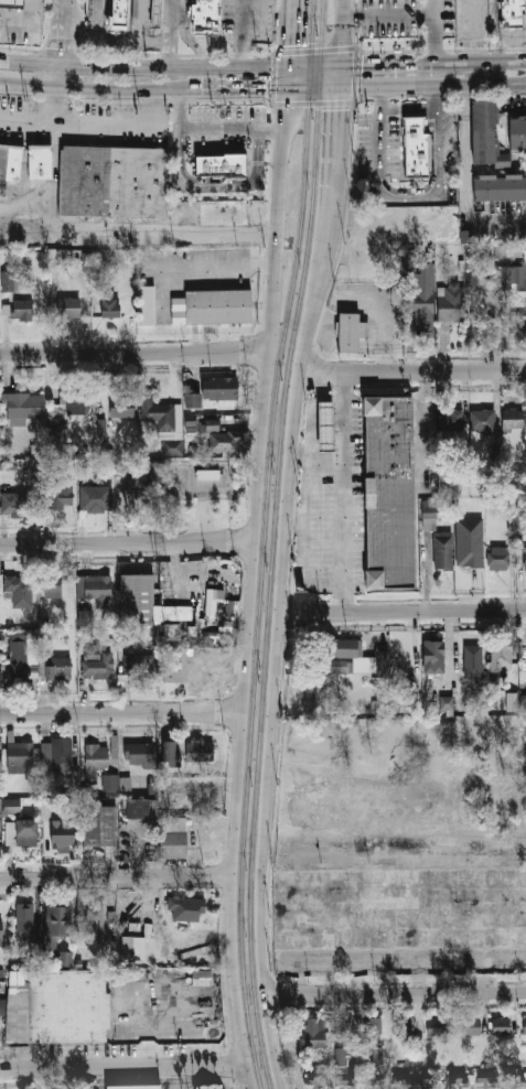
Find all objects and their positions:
road: (65, 2)
building: (14, 3)
gas station: (14, 3)
road: (172, 8)
building: (197, 11)
building: (124, 12)
building: (155, 12)
building: (514, 12)
road: (394, 13)
building: (211, 15)
road: (24, 21)
building: (115, 21)
parking lot: (253, 21)
road: (497, 30)
road: (347, 31)
road: (290, 32)
road: (62, 34)
road: (249, 34)
road: (186, 35)
parking lot: (20, 39)
road: (170, 41)
traffic signals: (290, 43)
road: (465, 61)
traffic signals: (362, 62)
road: (375, 62)
road: (316, 63)
road: (143, 67)
road: (345, 75)
road: (57, 76)
road: (287, 76)
road: (28, 85)
road: (436, 86)
road: (124, 88)
road: (239, 88)
traffic signals: (264, 88)
road: (315, 88)
road: (55, 103)
road: (407, 106)
traffic signals: (344, 109)
road: (76, 118)
road: (211, 127)
building: (517, 133)
building: (486, 136)
building: (417, 149)
building: (37, 161)
road: (344, 161)
building: (9, 163)
building: (219, 164)
building: (233, 176)
building: (110, 181)
road: (463, 181)
road: (214, 183)
building: (500, 187)
road: (362, 192)
road: (408, 198)
road: (275, 205)
road: (133, 230)
building: (466, 236)
building: (513, 250)
building: (54, 255)
road: (221, 266)
road: (324, 270)
building: (511, 278)
building: (7, 280)
building: (425, 292)
building: (148, 305)
building: (218, 305)
building: (452, 305)
building: (110, 308)
building: (22, 309)
building: (68, 309)
building: (481, 324)
building: (516, 325)
building: (347, 332)
road: (132, 354)
road: (410, 369)
building: (219, 389)
building: (75, 400)
building: (192, 401)
building: (25, 406)
building: (120, 406)
building: (514, 420)
building: (453, 421)
building: (483, 421)
building: (164, 423)
building: (200, 424)
building: (325, 424)
gas station: (325, 424)
building: (101, 428)
building: (58, 430)
building: (222, 438)
building: (35, 449)
building: (121, 466)
building: (207, 474)
building: (138, 488)
road: (305, 489)
road: (342, 489)
building: (388, 490)
building: (62, 493)
building: (96, 498)
building: (15, 505)
building: (429, 521)
building: (515, 524)
road: (126, 542)
building: (466, 542)
railway: (261, 543)
railway: (270, 543)
building: (441, 551)
building: (525, 556)
building: (497, 559)
building: (53, 586)
building: (95, 587)
building: (20, 590)
building: (137, 599)
building: (211, 602)
road: (401, 610)
building: (85, 617)
building: (178, 623)
building: (342, 648)
building: (433, 657)
building: (500, 658)
building: (19, 659)
building: (473, 660)
building: (97, 662)
building: (383, 664)
building: (175, 665)
building: (138, 666)
building: (340, 666)
building: (56, 668)
building: (314, 690)
road: (270, 698)
building: (512, 701)
building: (446, 702)
building: (523, 702)
road: (241, 707)
road: (120, 713)
building: (198, 750)
building: (133, 751)
building: (169, 752)
building: (20, 753)
building: (60, 757)
building: (94, 759)
building: (110, 780)
building: (11, 806)
building: (141, 808)
building: (99, 824)
building: (26, 832)
building: (9, 833)
building: (212, 834)
building: (62, 835)
building: (173, 837)
road: (115, 877)
building: (185, 908)
building: (95, 917)
building: (25, 920)
building: (56, 924)
building: (1, 928)
building: (132, 948)
building: (65, 958)
building: (202, 978)
road: (394, 994)
building: (56, 1005)
building: (2, 1007)
building: (341, 1025)
building: (376, 1025)
building: (501, 1025)
building: (524, 1025)
building: (471, 1026)
building: (402, 1027)
building: (436, 1027)
building: (314, 1032)
building: (377, 1054)
building: (342, 1055)
road: (288, 1056)
road: (280, 1059)
road: (121, 1068)
building: (318, 1076)
building: (344, 1077)
building: (458, 1077)
building: (401, 1078)
building: (486, 1078)
building: (133, 1086)
building: (217, 1087)

